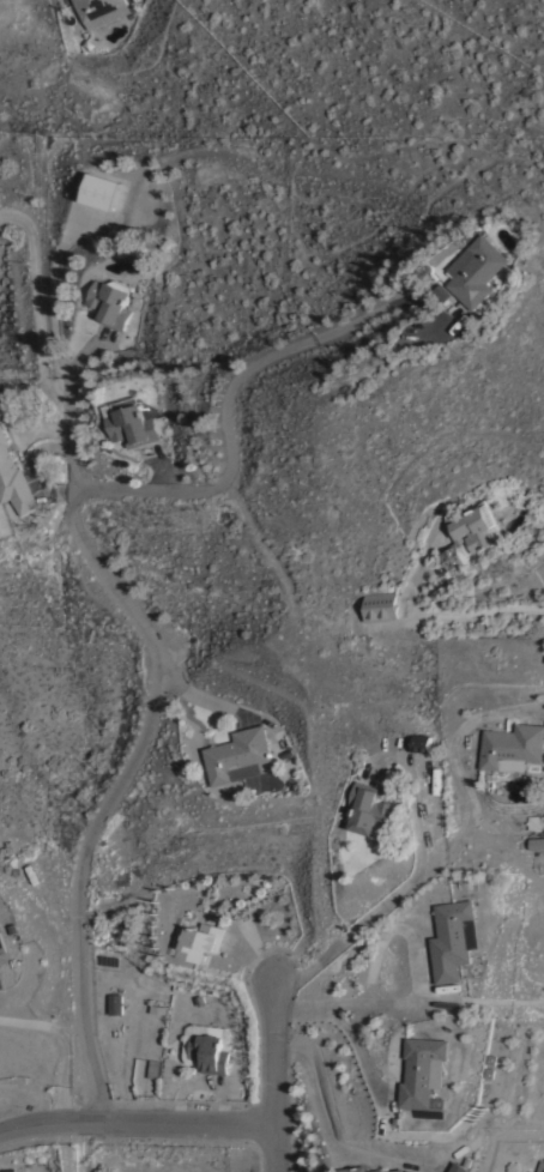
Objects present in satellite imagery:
building: (101, 11)
building: (102, 189)
building: (482, 270)
building: (447, 291)
building: (111, 301)
road: (36, 312)
road: (291, 328)
road: (75, 404)
building: (133, 422)
building: (13, 479)
road: (192, 481)
building: (473, 527)
building: (453, 557)
building: (380, 605)
road: (446, 617)
building: (421, 742)
building: (513, 745)
building: (238, 755)
building: (436, 781)
road: (113, 786)
building: (370, 811)
building: (536, 841)
road: (445, 844)
road: (393, 929)
building: (452, 938)
building: (199, 940)
building: (2, 944)
building: (115, 1002)
road: (400, 1003)
road: (62, 1044)
building: (208, 1049)
building: (152, 1068)
building: (423, 1069)
road: (271, 1076)
road: (380, 1104)
road: (134, 1120)
road: (327, 1136)
building: (540, 1166)
building: (353, 1167)
building: (459, 1167)

